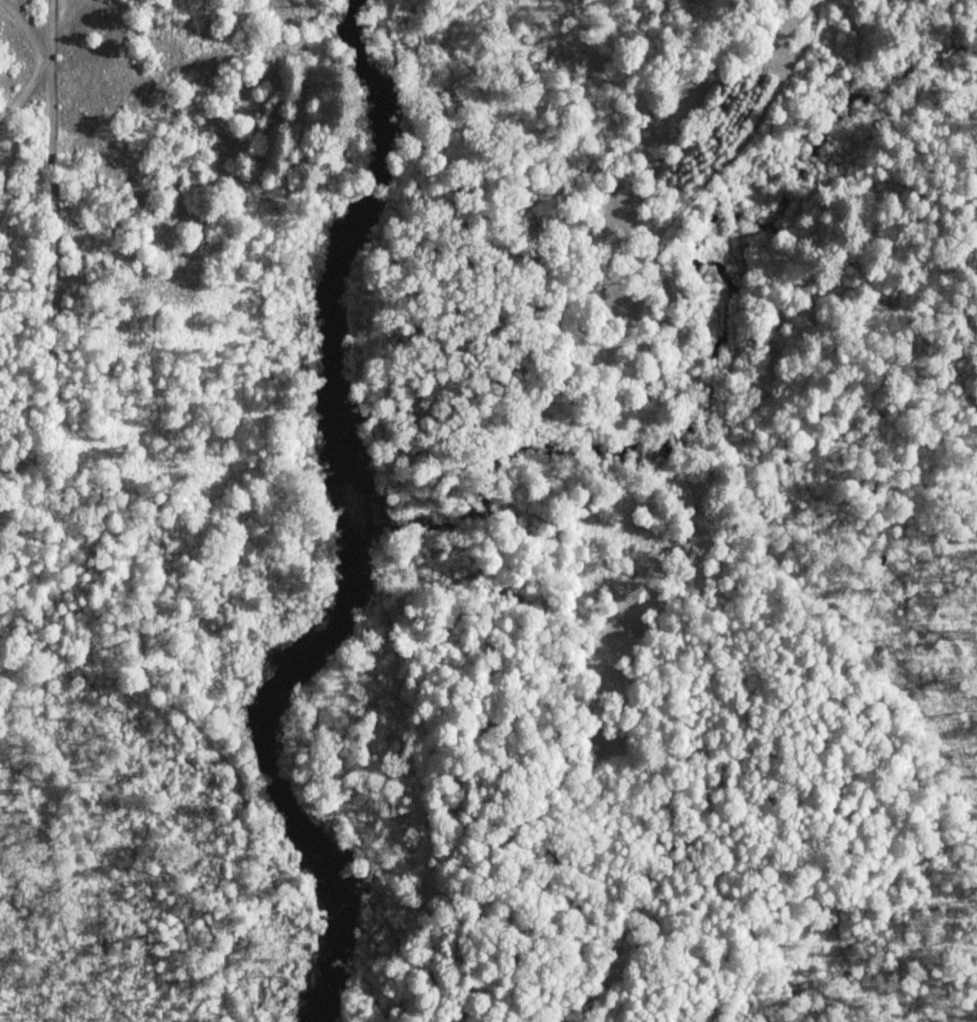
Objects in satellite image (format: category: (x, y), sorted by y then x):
river: (354, 529)

